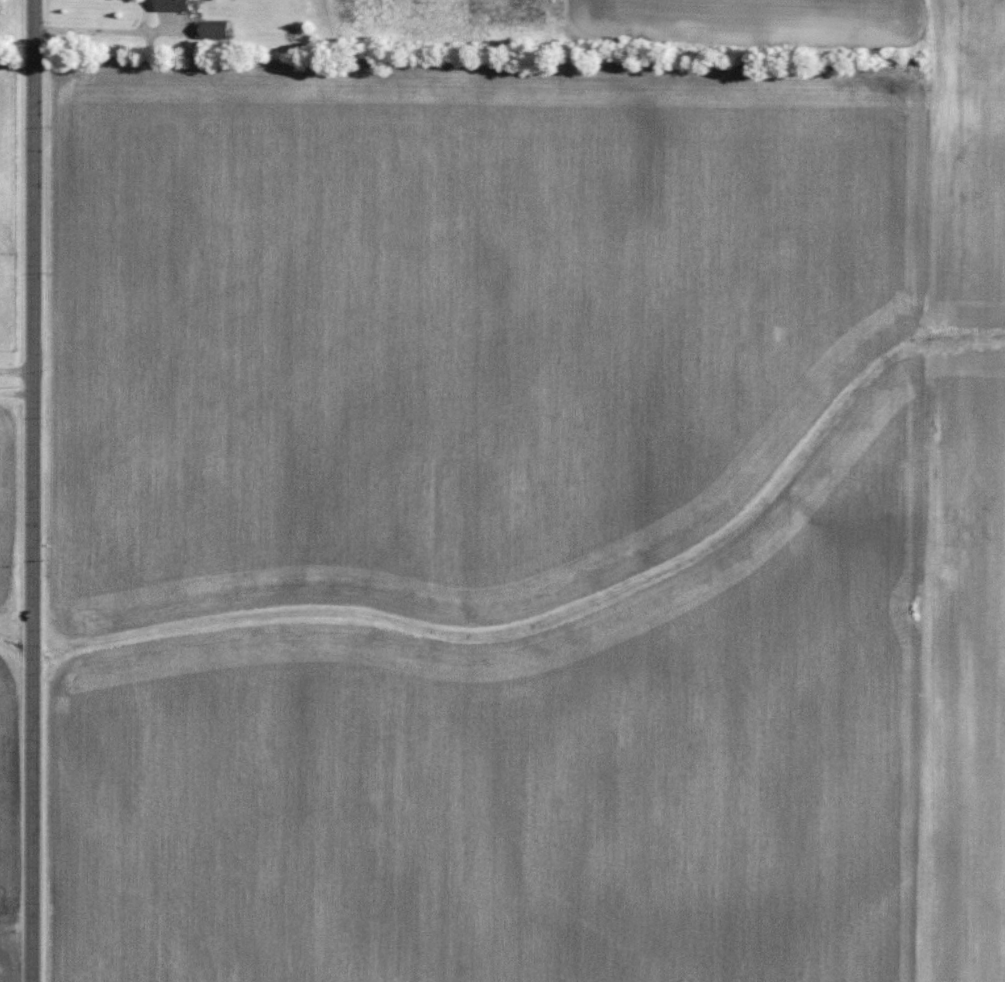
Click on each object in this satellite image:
building: (175, 5)
building: (218, 30)
road: (101, 31)
road: (17, 371)
road: (33, 490)

